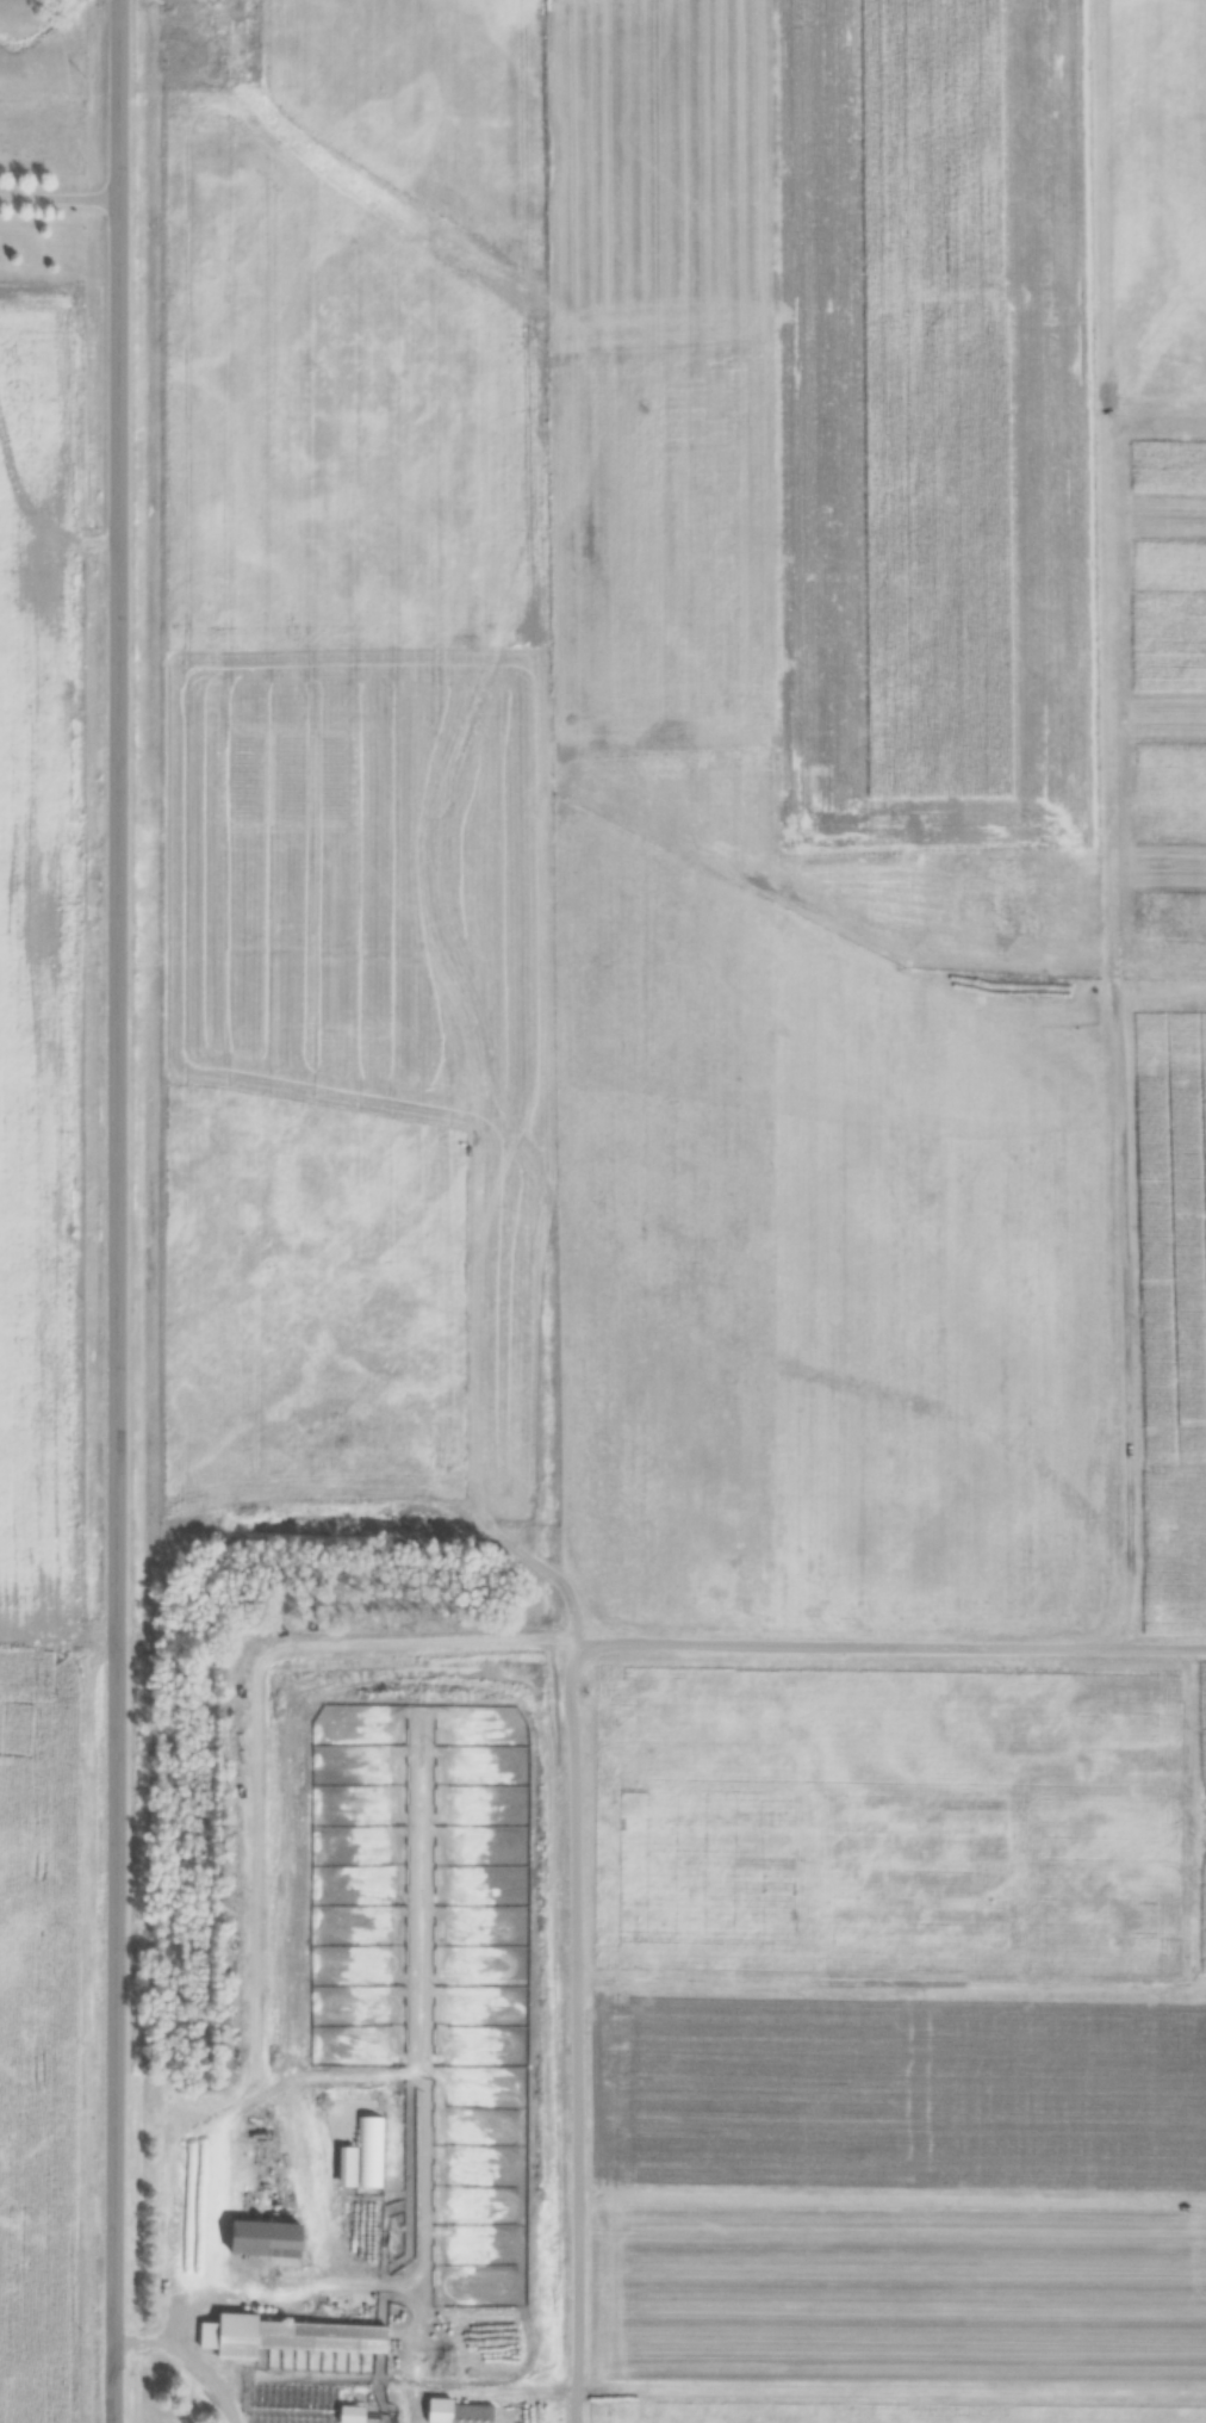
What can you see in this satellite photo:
road: (58, 194)
road: (117, 1211)
road: (573, 2051)
building: (371, 2152)
building: (268, 2239)
building: (287, 2337)
road: (207, 2369)
building: (461, 2412)
building: (354, 2413)

